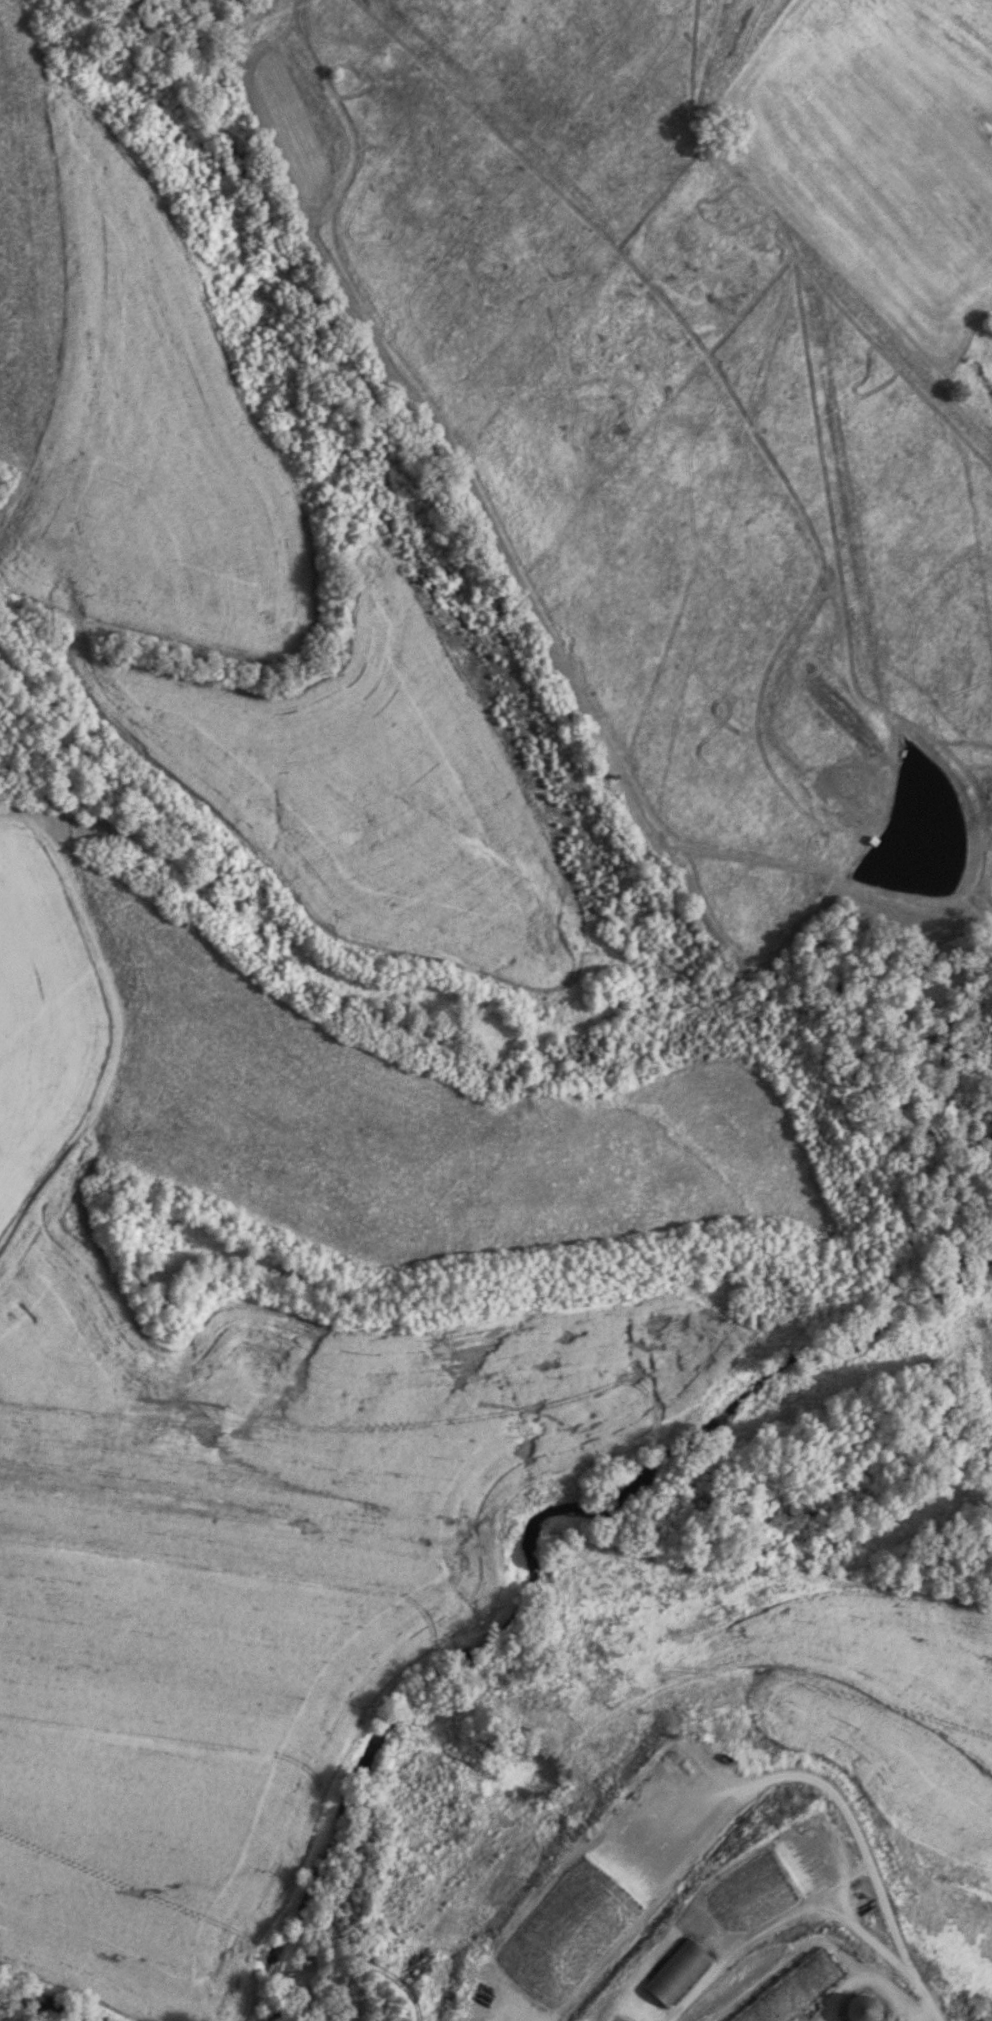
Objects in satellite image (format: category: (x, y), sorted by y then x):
road: (102, 1340)
river: (523, 1570)
building: (674, 1976)
building: (791, 1991)
river: (46, 2008)
building: (853, 2009)

